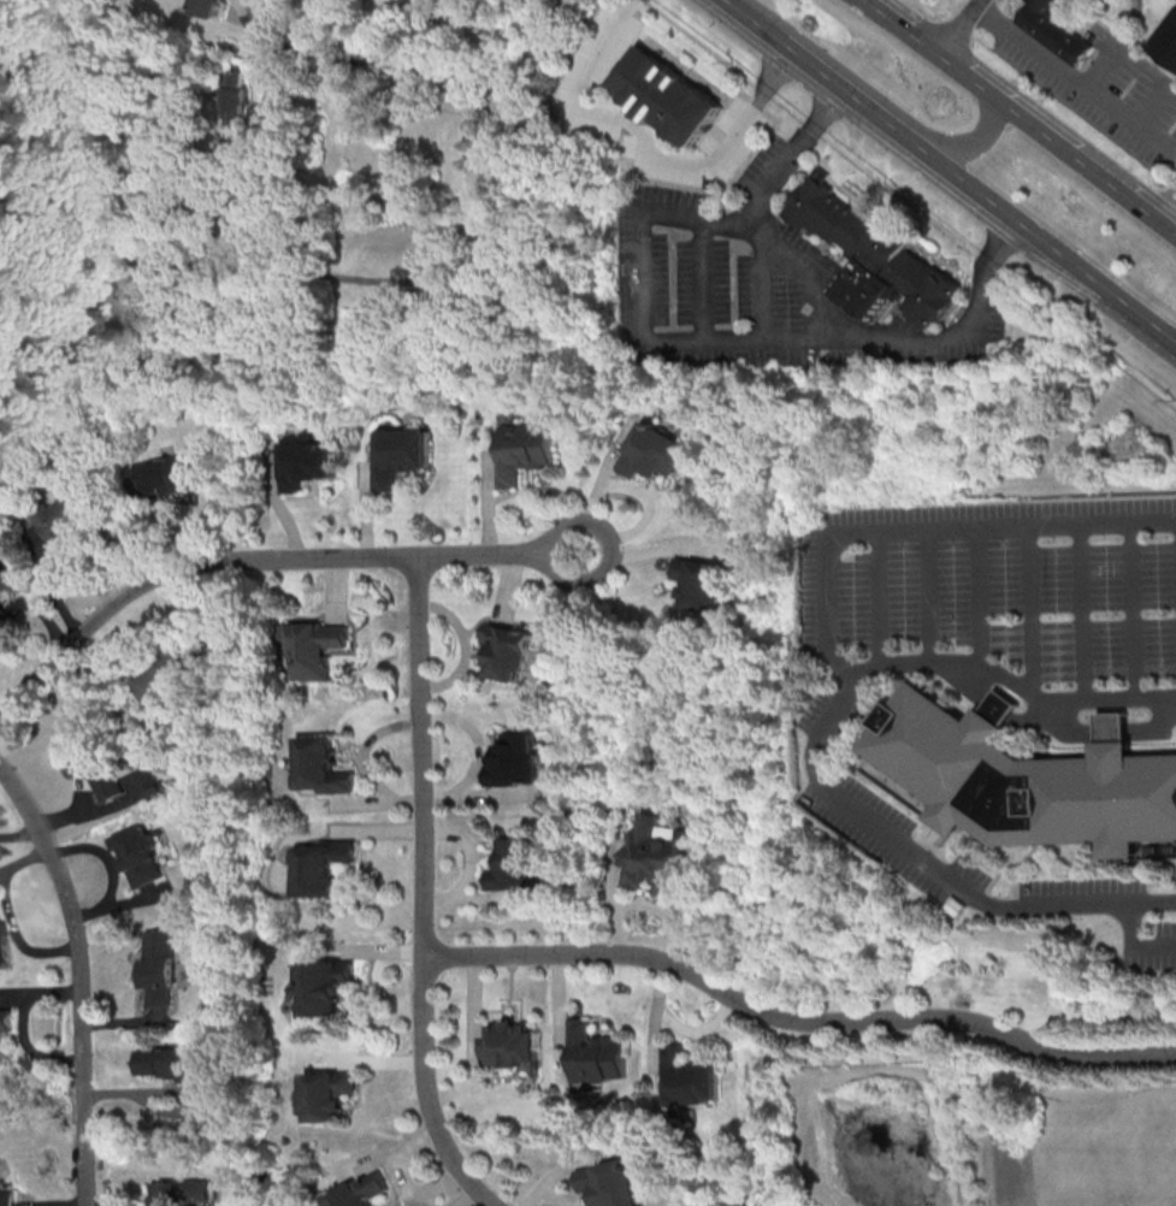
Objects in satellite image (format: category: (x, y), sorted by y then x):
building: (208, 6)
road: (754, 20)
road: (951, 23)
road: (956, 28)
building: (1054, 30)
building: (1165, 40)
road: (389, 65)
road: (1075, 76)
road: (317, 85)
building: (664, 95)
road: (855, 96)
building: (234, 101)
road: (1018, 119)
road: (501, 134)
road: (975, 142)
road: (645, 148)
road: (1168, 182)
road: (912, 203)
road: (1168, 209)
road: (1018, 220)
building: (873, 255)
road: (324, 273)
road: (704, 280)
road: (766, 290)
road: (823, 309)
road: (1141, 317)
road: (645, 318)
building: (520, 450)
building: (654, 451)
building: (398, 454)
building: (303, 461)
building: (164, 474)
building: (65, 515)
road: (246, 561)
road: (592, 574)
building: (8, 581)
building: (699, 583)
road: (935, 596)
road: (887, 597)
road: (986, 598)
road: (838, 601)
building: (2, 611)
road: (1035, 611)
road: (1136, 611)
road: (1087, 614)
building: (314, 649)
building: (508, 650)
building: (158, 681)
building: (515, 759)
building: (95, 763)
building: (318, 765)
building: (1030, 778)
building: (656, 853)
building: (136, 855)
building: (515, 864)
building: (319, 867)
road: (923, 870)
road: (413, 892)
road: (1133, 946)
building: (0, 956)
building: (159, 966)
road: (81, 976)
building: (327, 986)
road: (791, 1018)
building: (513, 1044)
building: (596, 1053)
building: (689, 1078)
building: (331, 1094)
building: (610, 1183)
building: (364, 1190)
building: (10, 1198)

